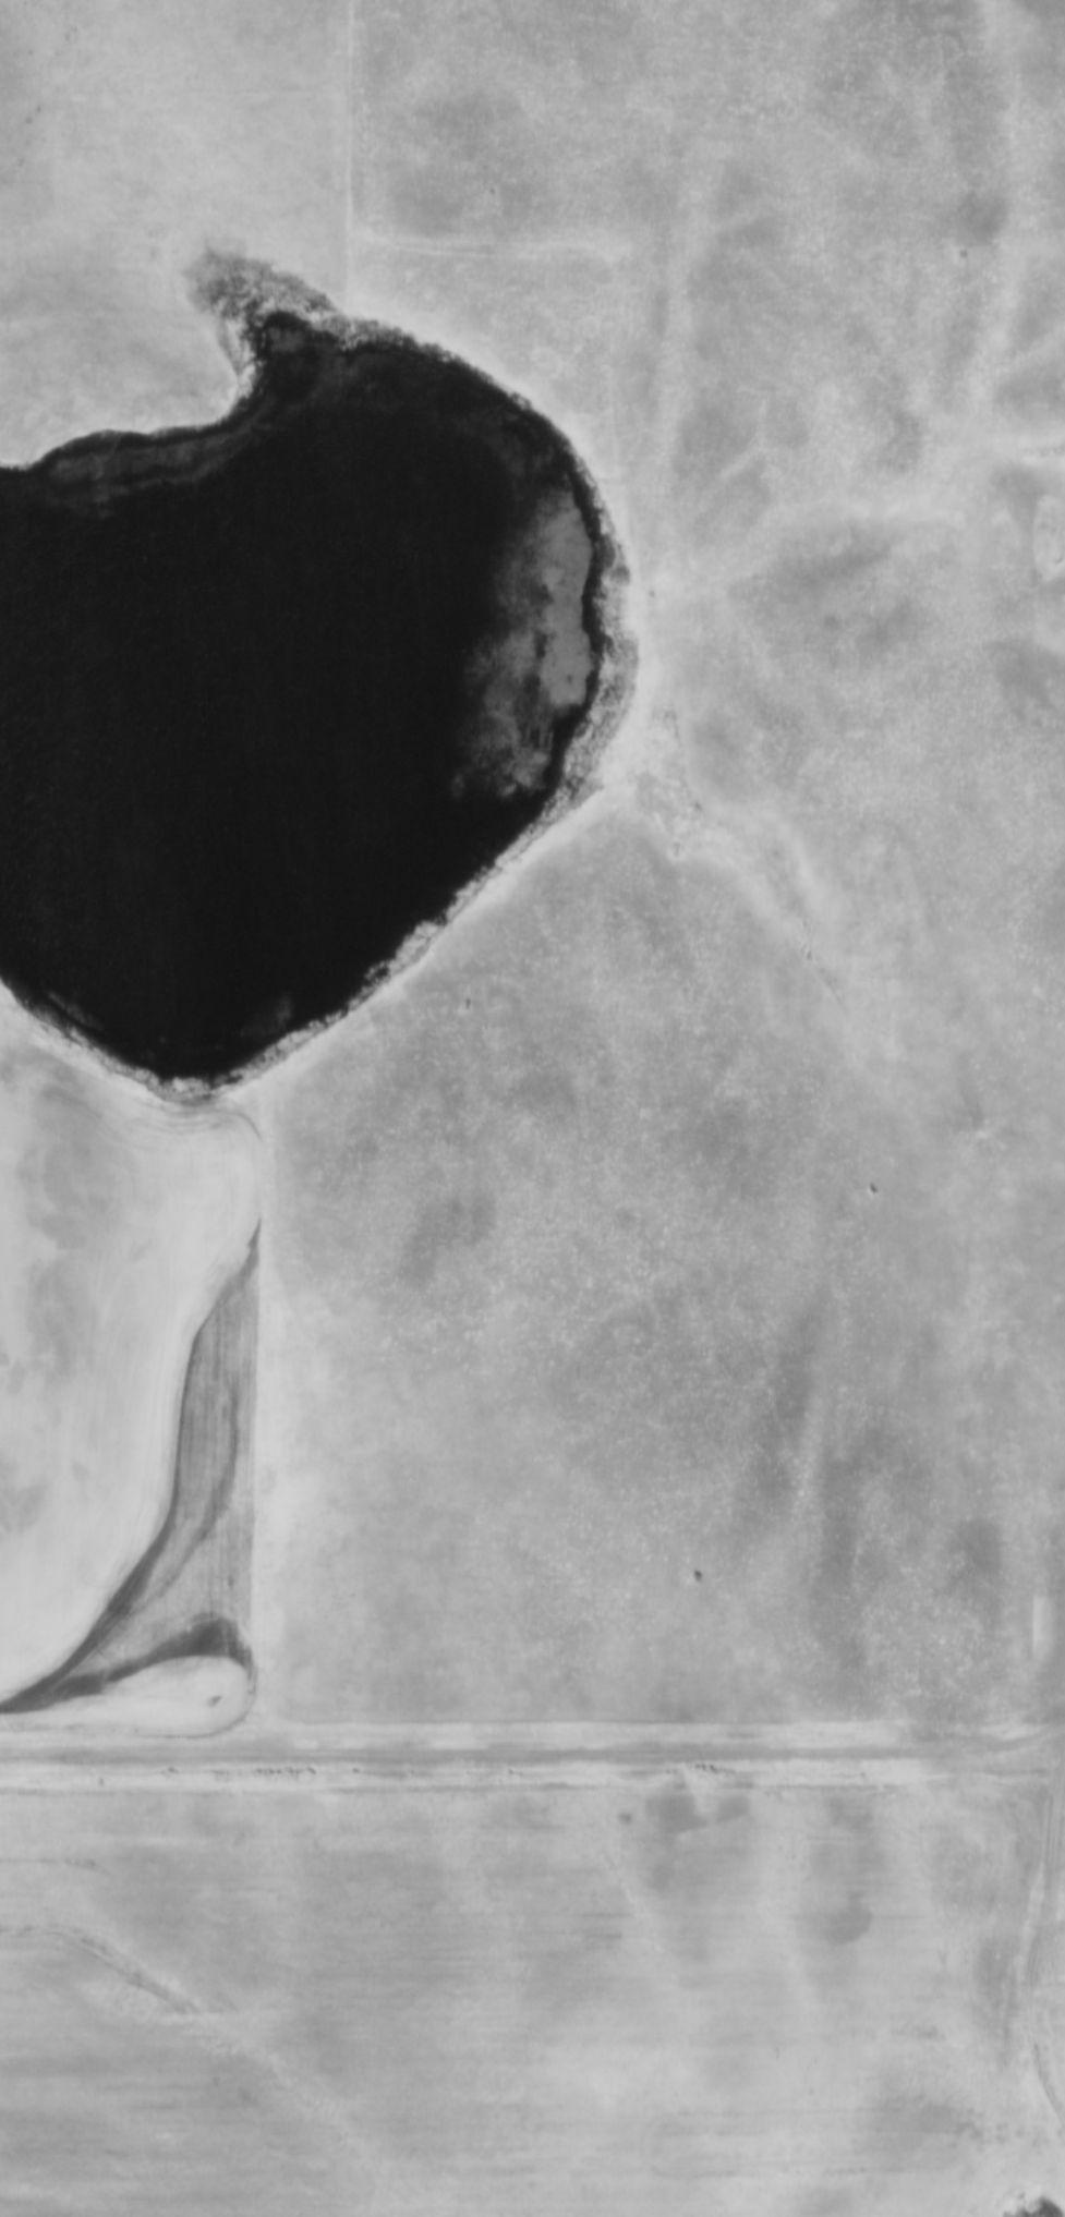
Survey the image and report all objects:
road: (532, 1760)
road: (1043, 1952)

